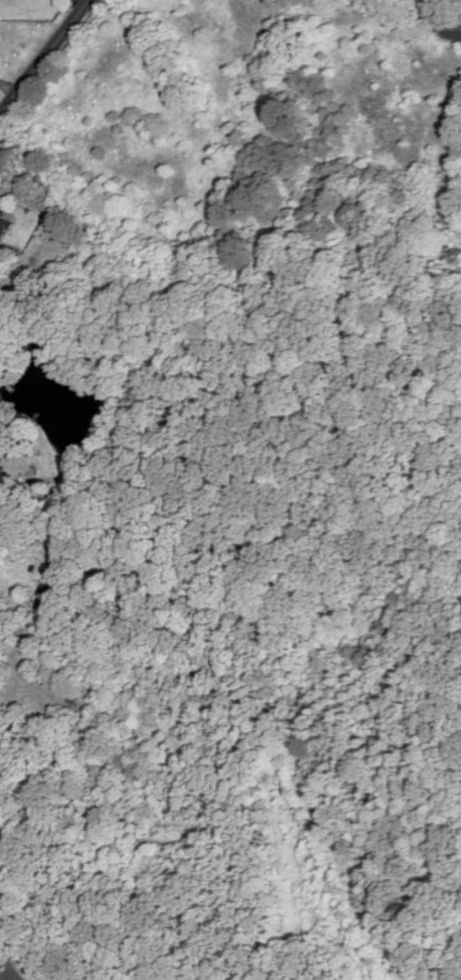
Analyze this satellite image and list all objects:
road: (424, 19)
road: (45, 59)
building: (3, 224)
building: (3, 452)

